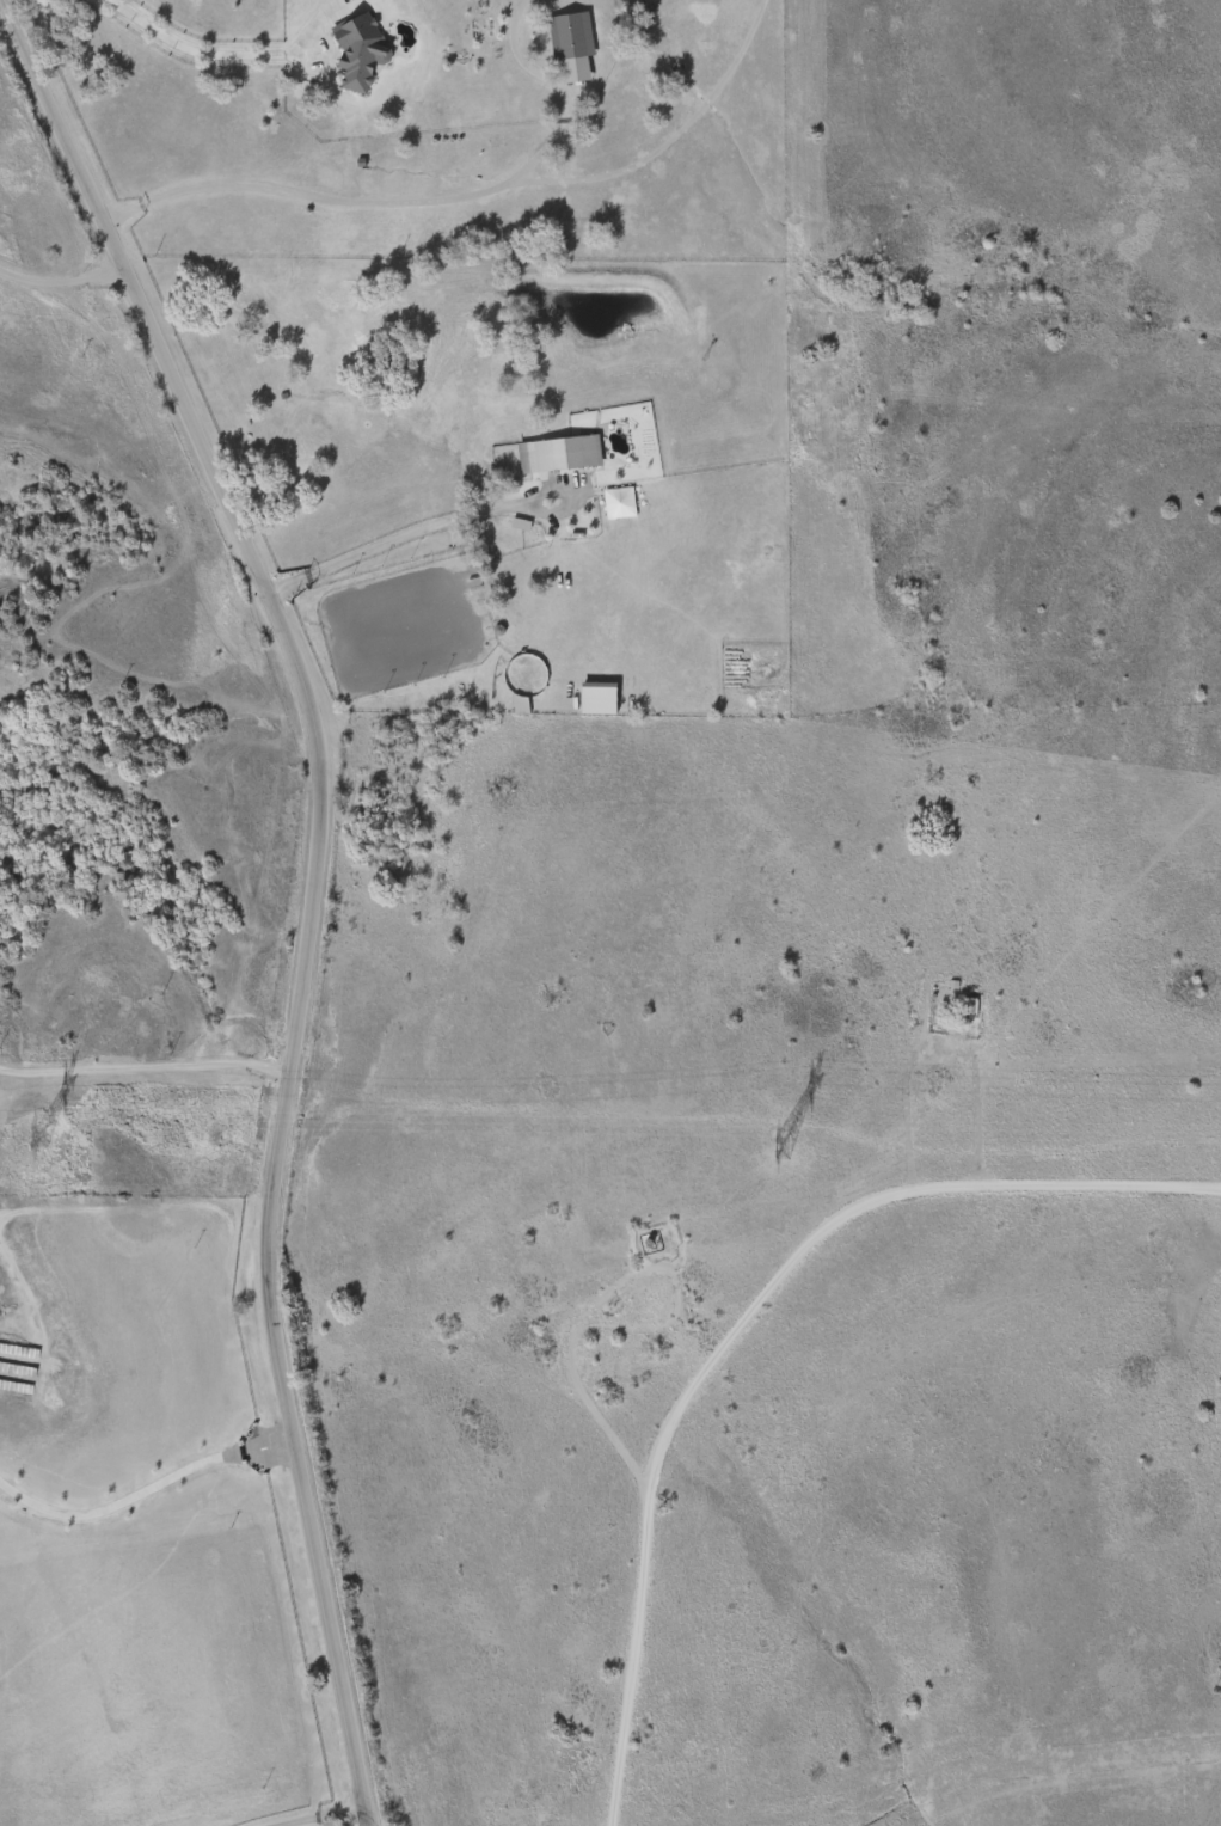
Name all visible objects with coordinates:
building: (575, 37)
building: (361, 49)
road: (191, 51)
road: (320, 51)
road: (468, 195)
road: (60, 283)
building: (566, 455)
road: (411, 531)
road: (292, 888)
road: (142, 1067)
power tower: (42, 1135)
power tower: (774, 1147)
road: (1054, 1185)
road: (774, 1275)
road: (142, 1485)
road: (631, 1600)
road: (318, 1814)

